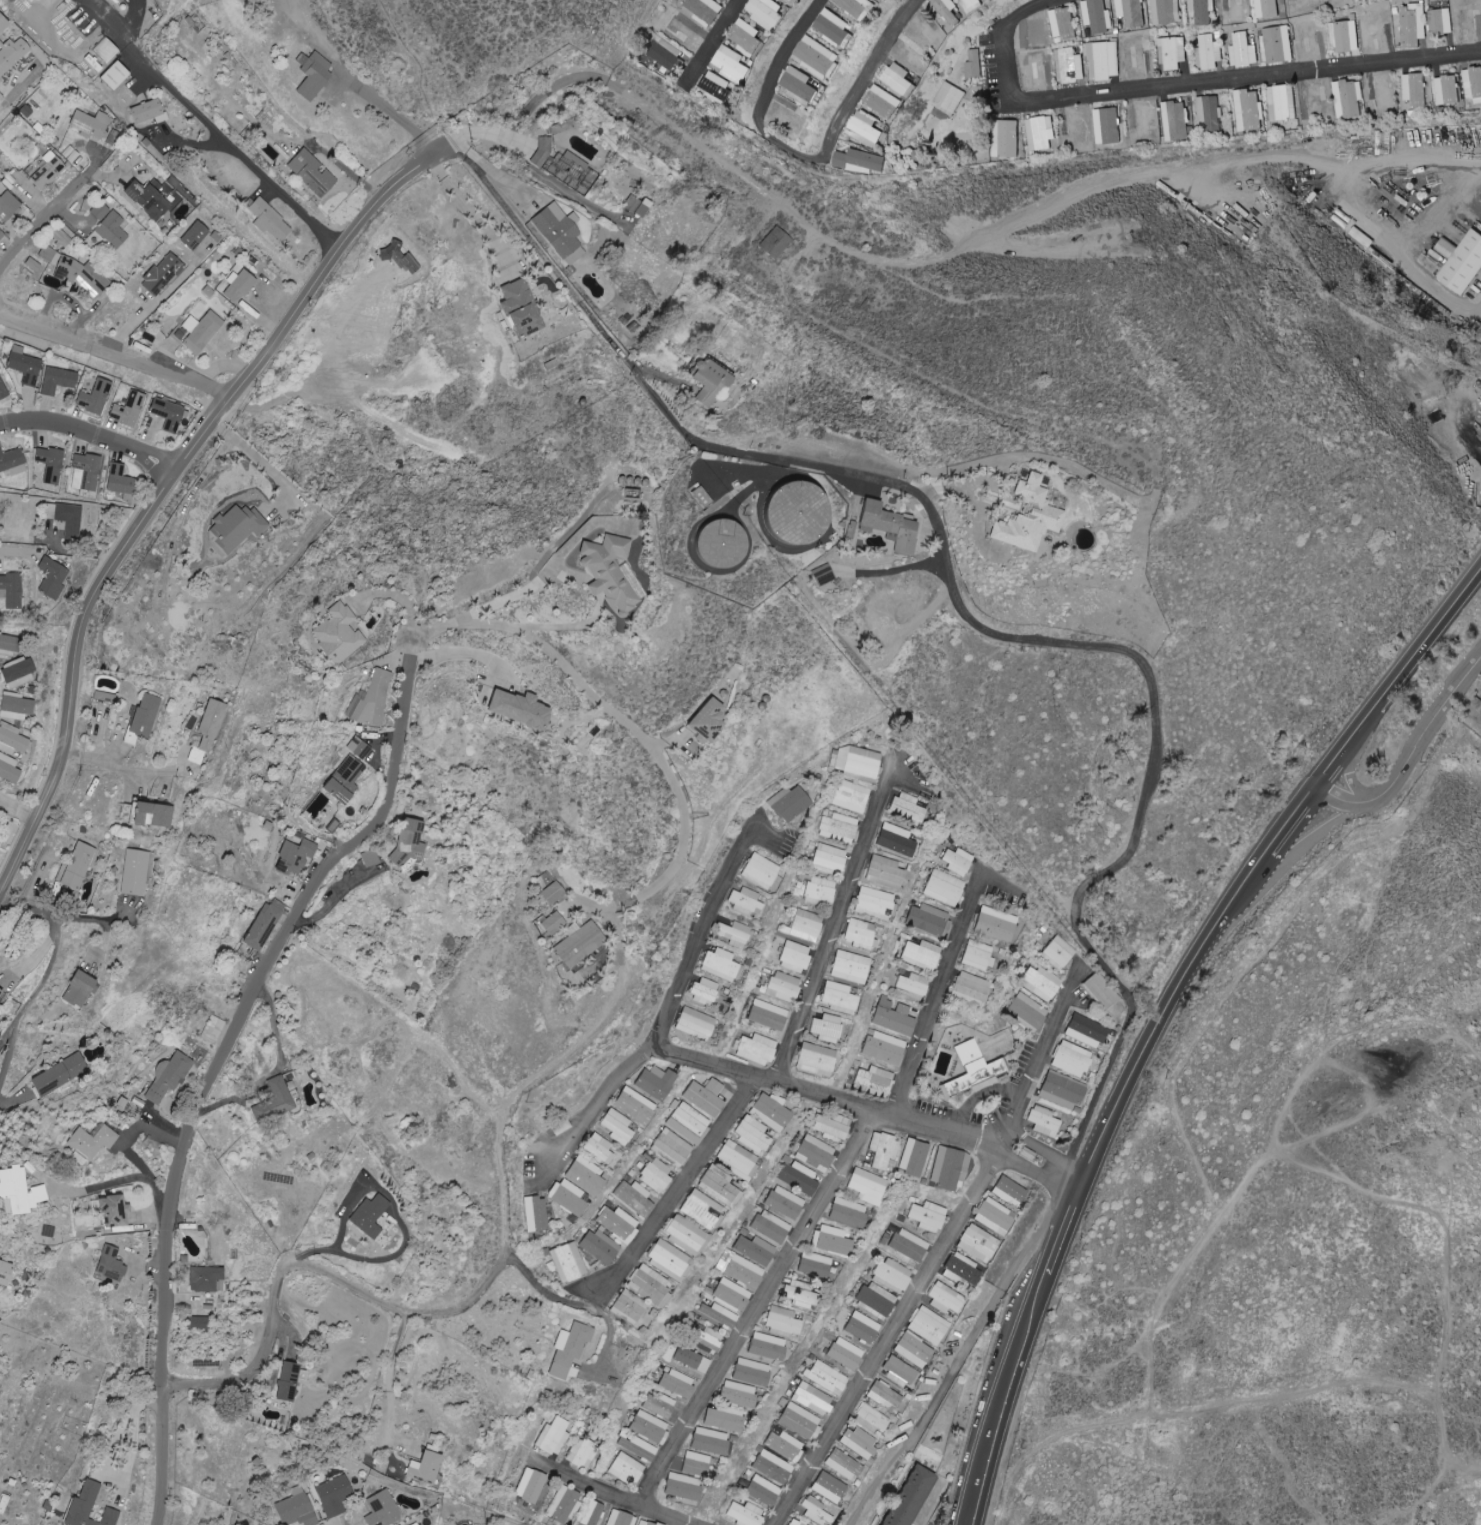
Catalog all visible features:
building: (972, 4)
building: (858, 7)
building: (704, 10)
building: (947, 11)
building: (1166, 11)
building: (1131, 12)
building: (764, 14)
building: (1097, 16)
building: (1440, 21)
building: (4, 23)
building: (1062, 23)
building: (1412, 25)
building: (833, 27)
building: (745, 37)
road: (719, 38)
building: (1277, 44)
building: (107, 48)
building: (1242, 50)
building: (1209, 51)
building: (663, 52)
building: (1172, 52)
building: (12, 54)
building: (816, 56)
building: (1103, 60)
building: (731, 64)
building: (972, 64)
building: (1070, 65)
building: (1040, 71)
road: (875, 73)
building: (118, 74)
building: (316, 76)
building: (897, 77)
road: (556, 82)
building: (1473, 84)
building: (798, 85)
building: (1415, 89)
road: (1176, 90)
building: (1447, 90)
road: (767, 96)
building: (949, 98)
building: (1347, 98)
building: (880, 101)
building: (1282, 102)
road: (4, 109)
road: (390, 109)
building: (150, 111)
building: (1249, 111)
building: (1209, 112)
building: (1176, 120)
building: (91, 123)
building: (865, 126)
road: (211, 127)
building: (1039, 132)
road: (490, 136)
building: (71, 153)
building: (858, 161)
road: (1356, 164)
building: (49, 170)
building: (314, 172)
road: (494, 174)
building: (174, 181)
building: (151, 198)
building: (627, 205)
building: (9, 206)
building: (637, 207)
road: (66, 209)
building: (101, 210)
road: (466, 211)
building: (270, 219)
building: (114, 229)
building: (558, 232)
building: (1, 234)
building: (197, 235)
building: (63, 238)
building: (772, 243)
building: (1445, 247)
road: (1396, 249)
building: (50, 254)
building: (1463, 263)
building: (34, 264)
road: (913, 264)
building: (69, 268)
building: (164, 273)
building: (239, 285)
road: (66, 295)
building: (517, 308)
building: (202, 331)
road: (114, 355)
building: (25, 365)
building: (59, 380)
building: (707, 382)
building: (4, 391)
building: (95, 397)
building: (129, 409)
building: (169, 414)
road: (92, 424)
road: (253, 456)
building: (13, 461)
building: (52, 464)
building: (86, 472)
road: (170, 478)
building: (122, 482)
building: (51, 511)
building: (786, 512)
storage tank: (786, 512)
building: (1018, 517)
building: (71, 520)
building: (877, 526)
building: (238, 527)
building: (710, 543)
storage tank: (710, 543)
road: (15, 554)
road: (890, 572)
building: (587, 573)
building: (816, 575)
building: (54, 577)
building: (13, 590)
road: (519, 591)
road: (379, 602)
building: (331, 634)
road: (1061, 641)
building: (10, 644)
road: (449, 652)
building: (20, 670)
building: (105, 696)
building: (359, 700)
road: (1467, 704)
building: (17, 706)
road: (1479, 708)
building: (509, 710)
building: (144, 717)
road: (622, 719)
building: (702, 720)
building: (211, 725)
building: (13, 739)
building: (344, 749)
road: (1408, 756)
building: (857, 763)
road: (116, 767)
building: (9, 769)
road: (1349, 770)
building: (330, 780)
building: (850, 796)
building: (787, 804)
building: (905, 807)
road: (17, 809)
building: (154, 814)
building: (837, 827)
building: (893, 840)
building: (399, 843)
building: (283, 857)
building: (828, 857)
building: (361, 859)
building: (957, 861)
building: (78, 865)
building: (137, 871)
building: (757, 871)
building: (881, 872)
building: (942, 888)
building: (818, 890)
building: (550, 893)
building: (742, 901)
building: (873, 903)
road: (838, 908)
building: (927, 920)
building: (551, 923)
building: (993, 923)
road: (90, 924)
building: (253, 924)
building: (803, 926)
building: (732, 934)
building: (859, 934)
building: (577, 944)
building: (1057, 952)
building: (919, 955)
building: (975, 956)
building: (793, 957)
building: (718, 964)
building: (848, 967)
road: (944, 971)
road: (45, 975)
building: (1040, 983)
building: (782, 986)
building: (912, 986)
building: (81, 989)
road: (670, 989)
building: (968, 989)
building: (701, 991)
building: (1098, 991)
building: (1, 992)
building: (837, 997)
road: (1161, 1012)
building: (765, 1015)
building: (891, 1016)
building: (693, 1024)
building: (220, 1028)
building: (825, 1028)
building: (1083, 1031)
building: (881, 1047)
building: (754, 1049)
building: (1069, 1058)
building: (814, 1059)
road: (210, 1060)
road: (275, 1069)
building: (970, 1071)
building: (61, 1073)
building: (176, 1075)
building: (873, 1077)
building: (653, 1083)
building: (712, 1087)
building: (1059, 1090)
road: (979, 1094)
building: (701, 1099)
building: (278, 1100)
road: (5, 1102)
building: (631, 1106)
road: (865, 1109)
building: (766, 1111)
building: (1041, 1121)
building: (688, 1123)
building: (614, 1127)
building: (833, 1127)
building: (748, 1134)
road: (118, 1135)
building: (100, 1139)
building: (596, 1148)
building: (670, 1148)
building: (814, 1153)
building: (911, 1158)
building: (733, 1161)
building: (945, 1169)
building: (654, 1173)
building: (581, 1176)
building: (797, 1178)
road: (122, 1181)
road: (679, 1186)
building: (864, 1186)
building: (25, 1188)
building: (715, 1188)
building: (1006, 1191)
building: (567, 1198)
building: (633, 1198)
building: (782, 1202)
building: (698, 1210)
building: (844, 1212)
building: (534, 1214)
building: (371, 1215)
building: (927, 1216)
building: (992, 1217)
building: (617, 1223)
building: (769, 1226)
building: (681, 1236)
building: (829, 1240)
building: (975, 1243)
building: (907, 1245)
building: (599, 1246)
building: (753, 1249)
road: (943, 1250)
building: (665, 1258)
road: (349, 1259)
building: (567, 1262)
building: (112, 1263)
building: (810, 1264)
building: (739, 1269)
road: (524, 1270)
building: (959, 1270)
building: (7, 1271)
building: (890, 1273)
building: (207, 1278)
building: (798, 1285)
building: (648, 1287)
building: (730, 1295)
building: (796, 1297)
building: (943, 1298)
building: (874, 1300)
building: (625, 1305)
road: (274, 1307)
road: (756, 1308)
building: (718, 1314)
building: (779, 1321)
building: (203, 1323)
building: (855, 1324)
building: (927, 1325)
building: (704, 1339)
building: (763, 1346)
building: (571, 1348)
building: (912, 1349)
building: (843, 1353)
building: (690, 1359)
building: (898, 1369)
building: (748, 1372)
building: (826, 1377)
building: (291, 1379)
road: (390, 1381)
building: (676, 1383)
building: (734, 1394)
building: (882, 1396)
building: (812, 1398)
building: (660, 1405)
building: (721, 1418)
building: (871, 1420)
building: (799, 1421)
building: (650, 1427)
building: (554, 1436)
building: (711, 1441)
building: (857, 1442)
building: (783, 1444)
building: (638, 1445)
building: (583, 1453)
building: (697, 1464)
building: (841, 1464)
building: (774, 1466)
building: (427, 1467)
building: (627, 1469)
building: (531, 1485)
building: (685, 1486)
building: (829, 1487)
building: (764, 1490)
building: (336, 1494)
road: (608, 1495)
building: (908, 1498)
road: (930, 1502)
building: (567, 1505)
building: (91, 1507)
building: (385, 1509)
building: (299, 1510)
building: (815, 1510)
building: (596, 1513)
building: (746, 1513)
building: (620, 1518)
building: (646, 1522)
building: (796, 1522)

